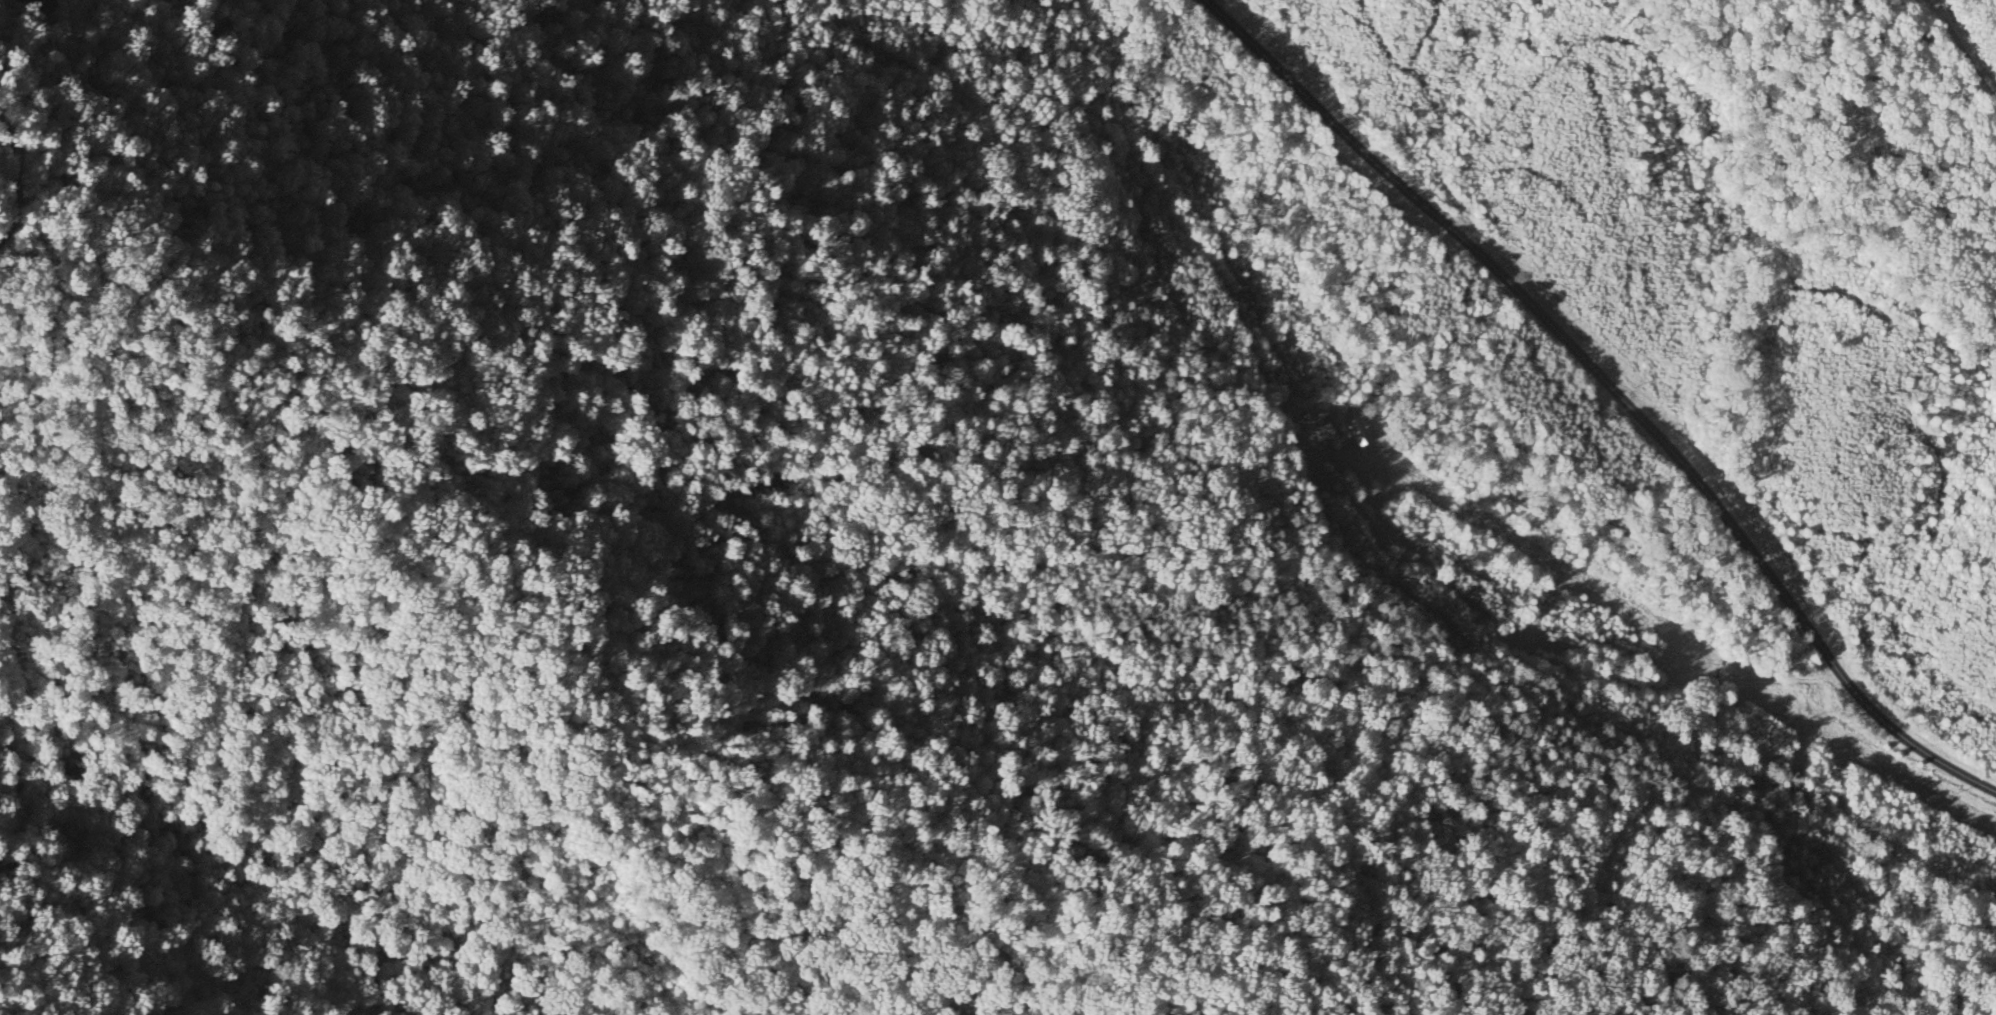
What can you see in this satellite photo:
road: (1873, 36)
road: (1957, 43)
road: (22, 155)
road: (1614, 386)
road: (1418, 472)

